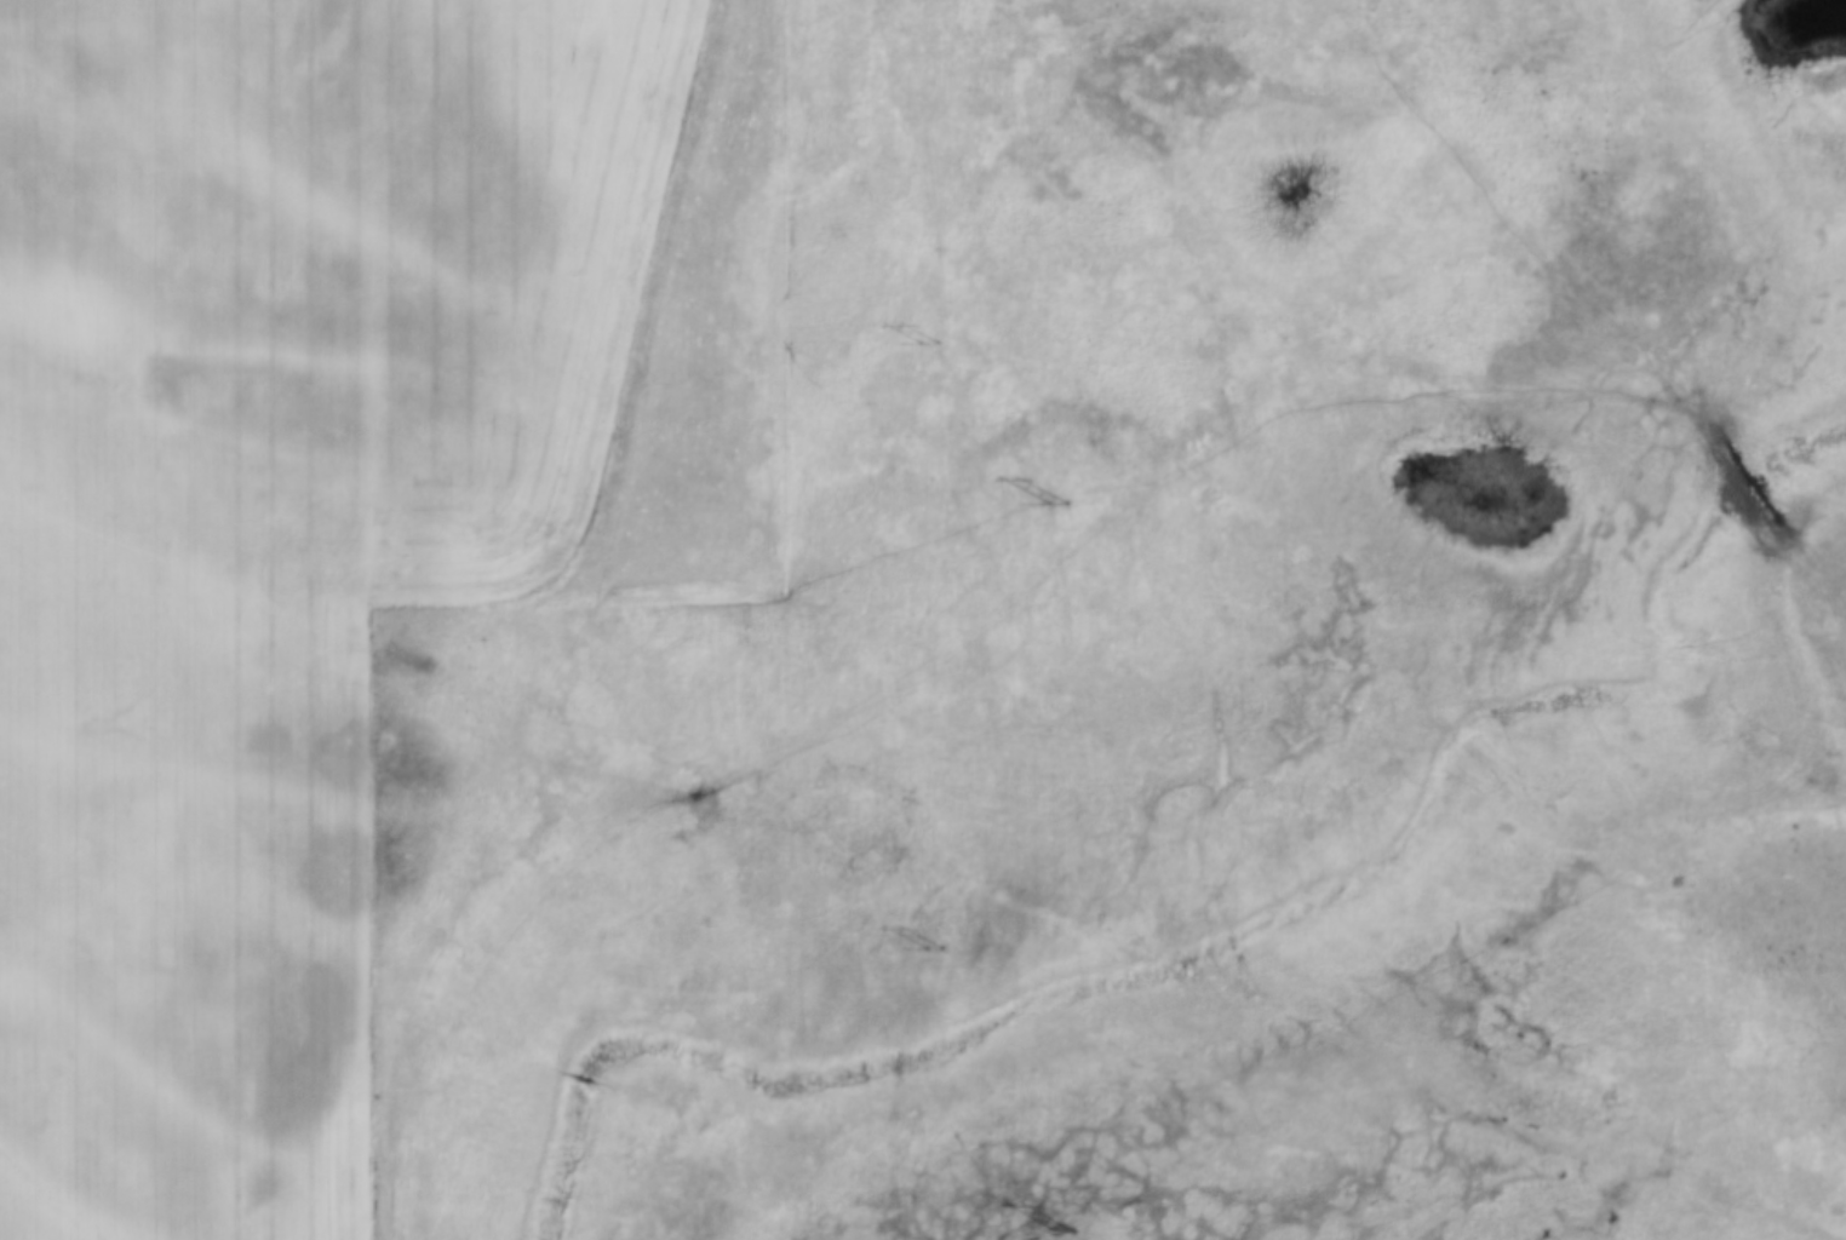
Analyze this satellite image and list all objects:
power tower: (924, 343)
power tower: (1054, 504)
power tower: (929, 949)
power tower: (1059, 1230)

